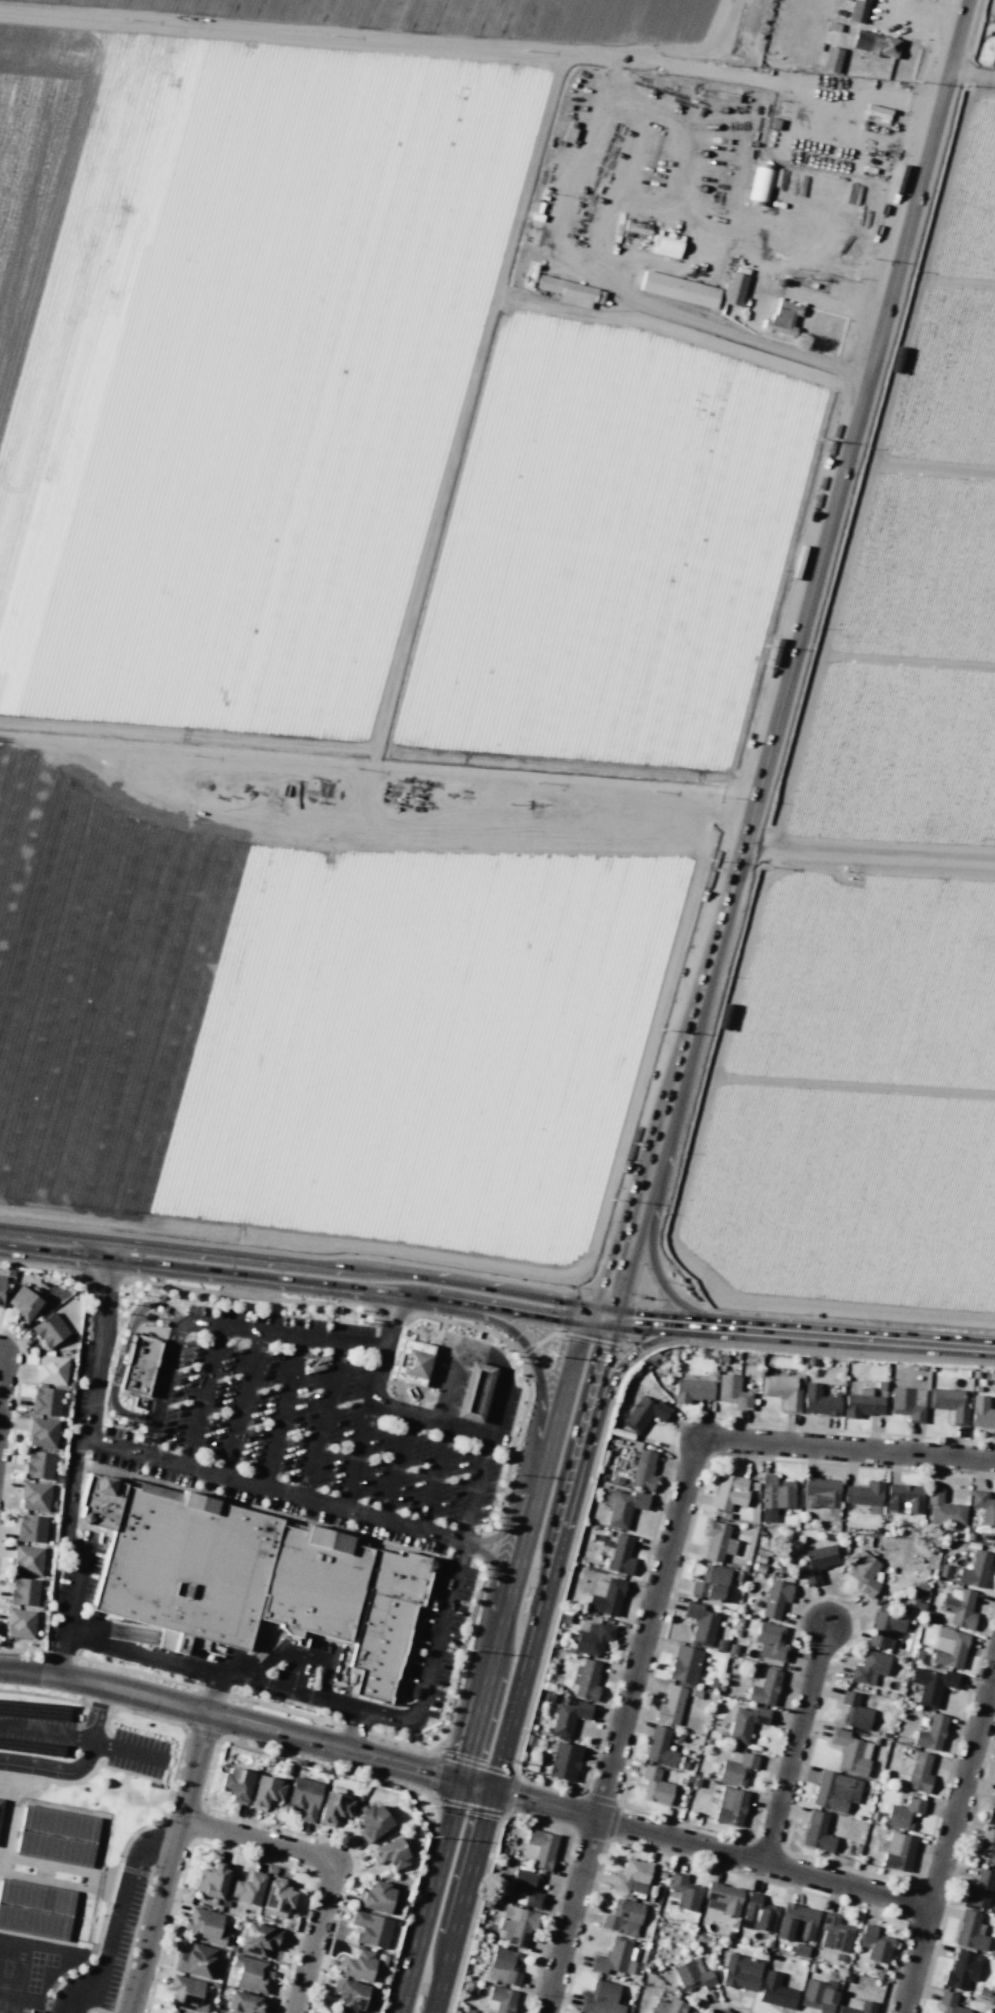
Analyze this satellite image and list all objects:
building: (858, 10)
building: (874, 43)
building: (831, 59)
road: (971, 74)
road: (577, 157)
building: (760, 184)
building: (669, 245)
building: (679, 289)
building: (735, 289)
building: (567, 291)
building: (782, 317)
crop: (348, 624)
road: (791, 659)
crop: (883, 865)
road: (650, 1241)
building: (1, 1289)
road: (106, 1297)
road: (497, 1298)
building: (23, 1304)
traffic signals: (604, 1315)
road: (392, 1318)
road: (218, 1328)
building: (49, 1330)
road: (651, 1341)
road: (533, 1359)
building: (410, 1361)
road: (458, 1362)
building: (140, 1364)
building: (51, 1370)
road: (3, 1383)
building: (692, 1390)
building: (781, 1390)
building: (732, 1391)
building: (476, 1392)
road: (203, 1396)
building: (818, 1400)
building: (45, 1401)
building: (862, 1403)
building: (907, 1403)
building: (948, 1403)
road: (241, 1404)
road: (282, 1412)
building: (981, 1412)
building: (644, 1413)
road: (322, 1420)
road: (429, 1421)
road: (364, 1429)
building: (41, 1432)
road: (848, 1448)
building: (38, 1464)
road: (395, 1467)
building: (643, 1470)
road: (434, 1478)
road: (276, 1489)
building: (729, 1491)
building: (821, 1491)
building: (863, 1493)
building: (34, 1496)
building: (774, 1496)
building: (903, 1498)
building: (983, 1506)
building: (625, 1507)
building: (943, 1509)
building: (31, 1528)
road: (506, 1531)
building: (717, 1541)
building: (620, 1555)
building: (27, 1559)
road: (492, 1559)
building: (818, 1561)
building: (974, 1570)
building: (864, 1574)
building: (260, 1581)
building: (710, 1582)
building: (23, 1591)
building: (605, 1596)
building: (775, 1598)
building: (958, 1608)
building: (19, 1623)
building: (700, 1624)
building: (883, 1629)
building: (592, 1639)
building: (770, 1641)
building: (948, 1648)
road: (60, 1654)
road: (303, 1655)
road: (492, 1658)
road: (525, 1664)
building: (684, 1664)
building: (869, 1667)
building: (585, 1679)
road: (266, 1684)
building: (932, 1685)
building: (764, 1688)
road: (213, 1692)
building: (670, 1706)
building: (854, 1711)
building: (568, 1717)
road: (247, 1722)
building: (745, 1723)
road: (623, 1727)
road: (353, 1729)
building: (930, 1733)
road: (83, 1741)
road: (797, 1744)
building: (659, 1747)
building: (850, 1752)
building: (564, 1761)
road: (81, 1766)
building: (736, 1767)
building: (919, 1772)
traffic signals: (460, 1781)
building: (235, 1783)
building: (655, 1786)
traffic signals: (493, 1789)
building: (266, 1791)
building: (835, 1791)
building: (304, 1797)
building: (1, 1805)
building: (730, 1806)
building: (333, 1808)
building: (992, 1813)
building: (903, 1814)
building: (372, 1822)
building: (60, 1823)
building: (816, 1832)
road: (159, 1834)
road: (949, 1845)
building: (55, 1848)
building: (539, 1848)
road: (712, 1848)
building: (986, 1848)
building: (898, 1851)
building: (390, 1854)
road: (168, 1862)
road: (327, 1865)
building: (632, 1877)
building: (212, 1881)
building: (526, 1888)
building: (247, 1889)
building: (979, 1889)
building: (684, 1891)
building: (36, 1896)
building: (277, 1896)
building: (376, 1897)
building: (722, 1898)
building: (757, 1914)
building: (623, 1917)
building: (35, 1922)
building: (795, 1922)
building: (516, 1925)
building: (205, 1926)
road: (117, 1929)
building: (370, 1929)
building: (970, 1931)
building: (835, 1933)
building: (259, 1939)
building: (874, 1944)
building: (614, 1957)
building: (194, 1960)
building: (357, 1965)
building: (505, 1966)
building: (961, 1970)
building: (741, 1972)
building: (251, 1974)
building: (692, 1975)
building: (775, 1991)
building: (186, 1993)
building: (349, 1995)
building: (817, 1996)
building: (601, 1998)
building: (500, 1999)
building: (243, 2002)
road: (72, 2003)
building: (949, 2003)
building: (667, 2006)
building: (855, 2006)
building: (173, 2012)

